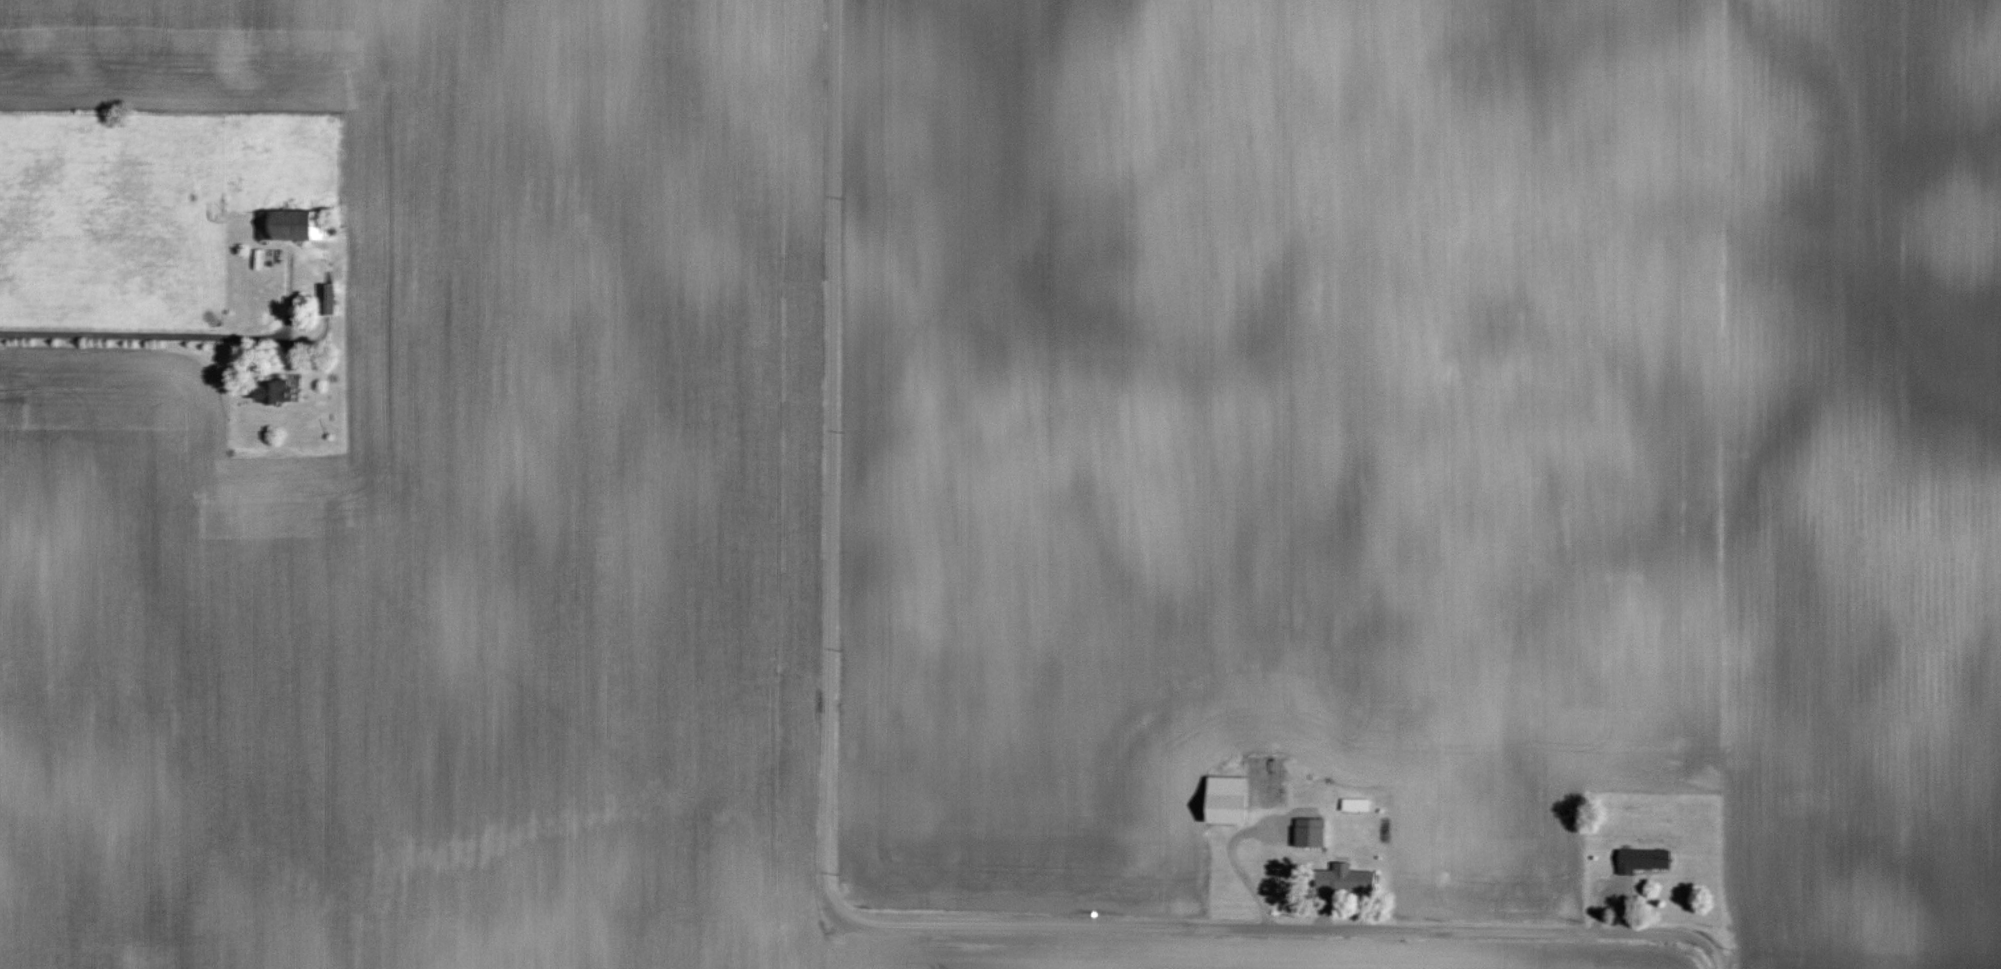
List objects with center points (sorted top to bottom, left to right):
building: (328, 296)
road: (157, 332)
building: (275, 390)
building: (1230, 798)
building: (1645, 858)
building: (1352, 876)
road: (826, 888)
road: (1717, 947)

